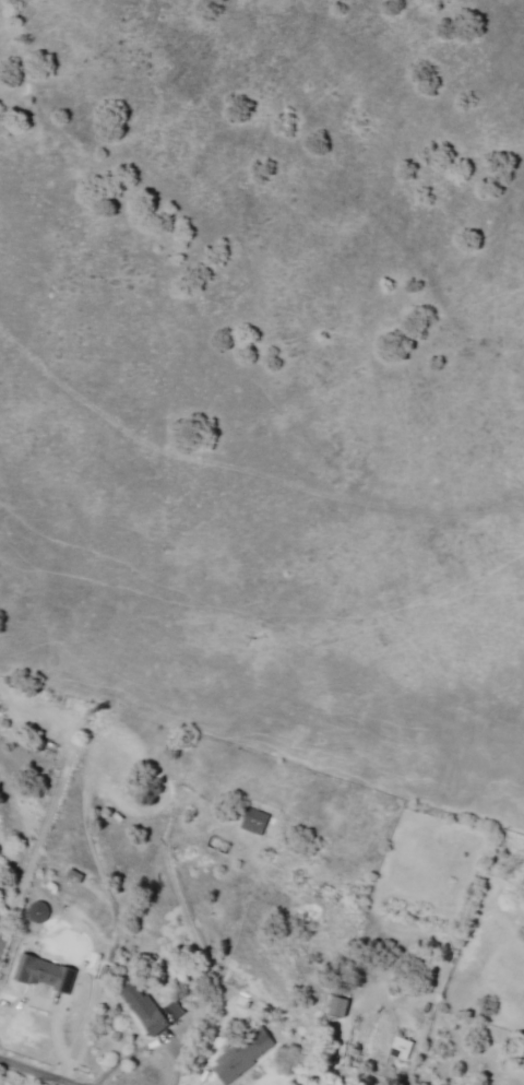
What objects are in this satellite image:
road: (290, 508)
building: (254, 822)
road: (177, 862)
building: (38, 912)
building: (44, 972)
building: (340, 1006)
building: (151, 1010)
building: (401, 1048)
building: (243, 1054)
road: (36, 1073)

